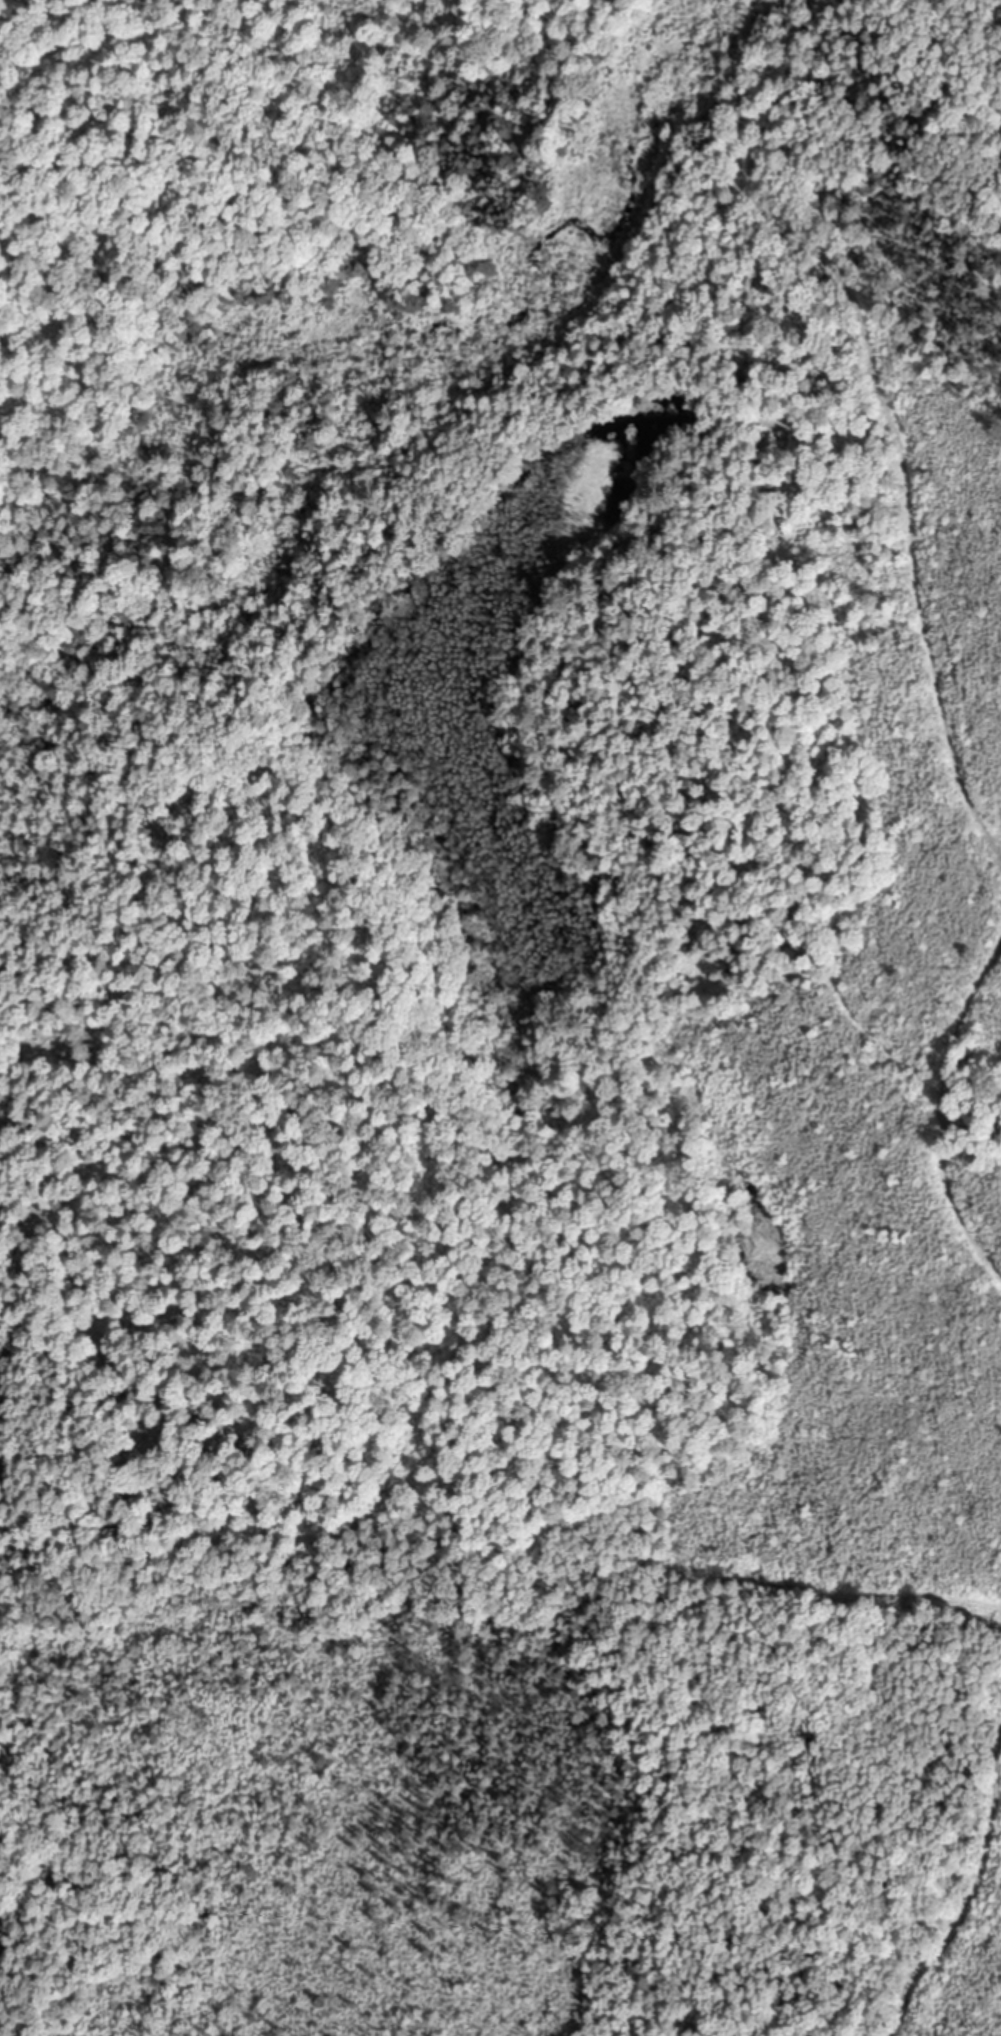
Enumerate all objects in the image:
road: (925, 604)
road: (937, 1101)
road: (965, 1904)

